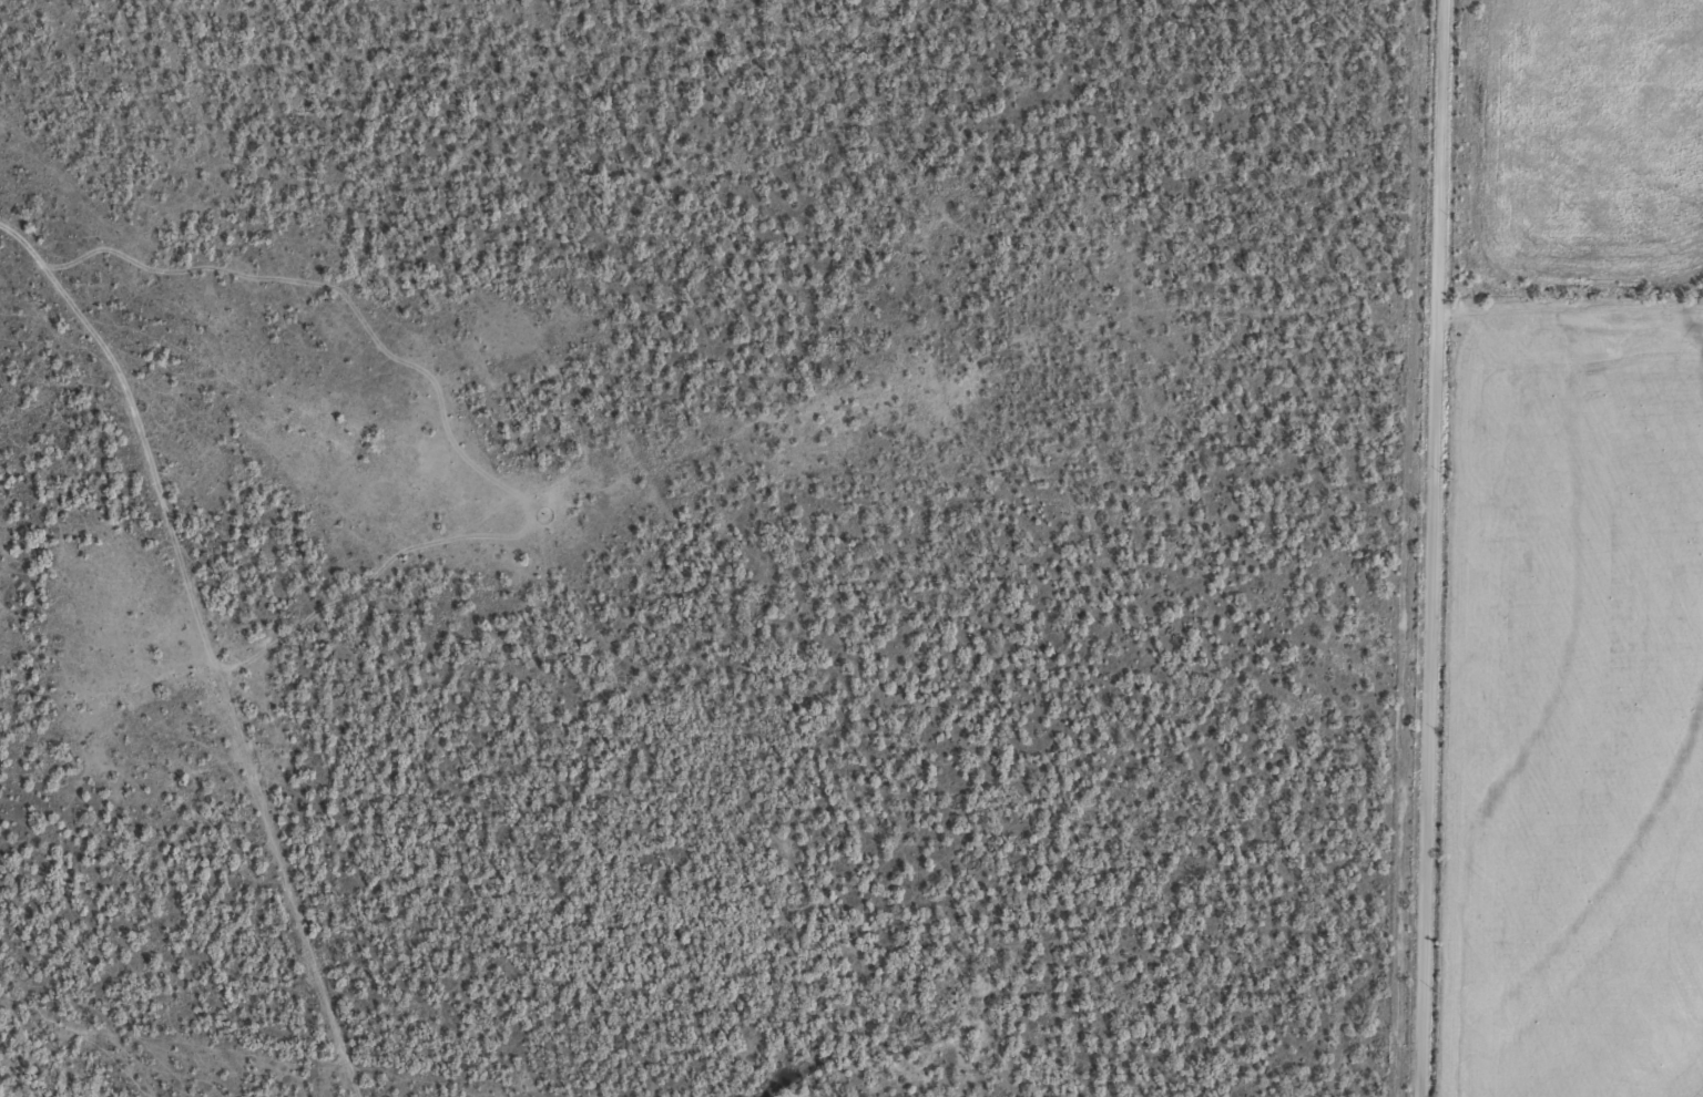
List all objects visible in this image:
road: (1430, 548)

